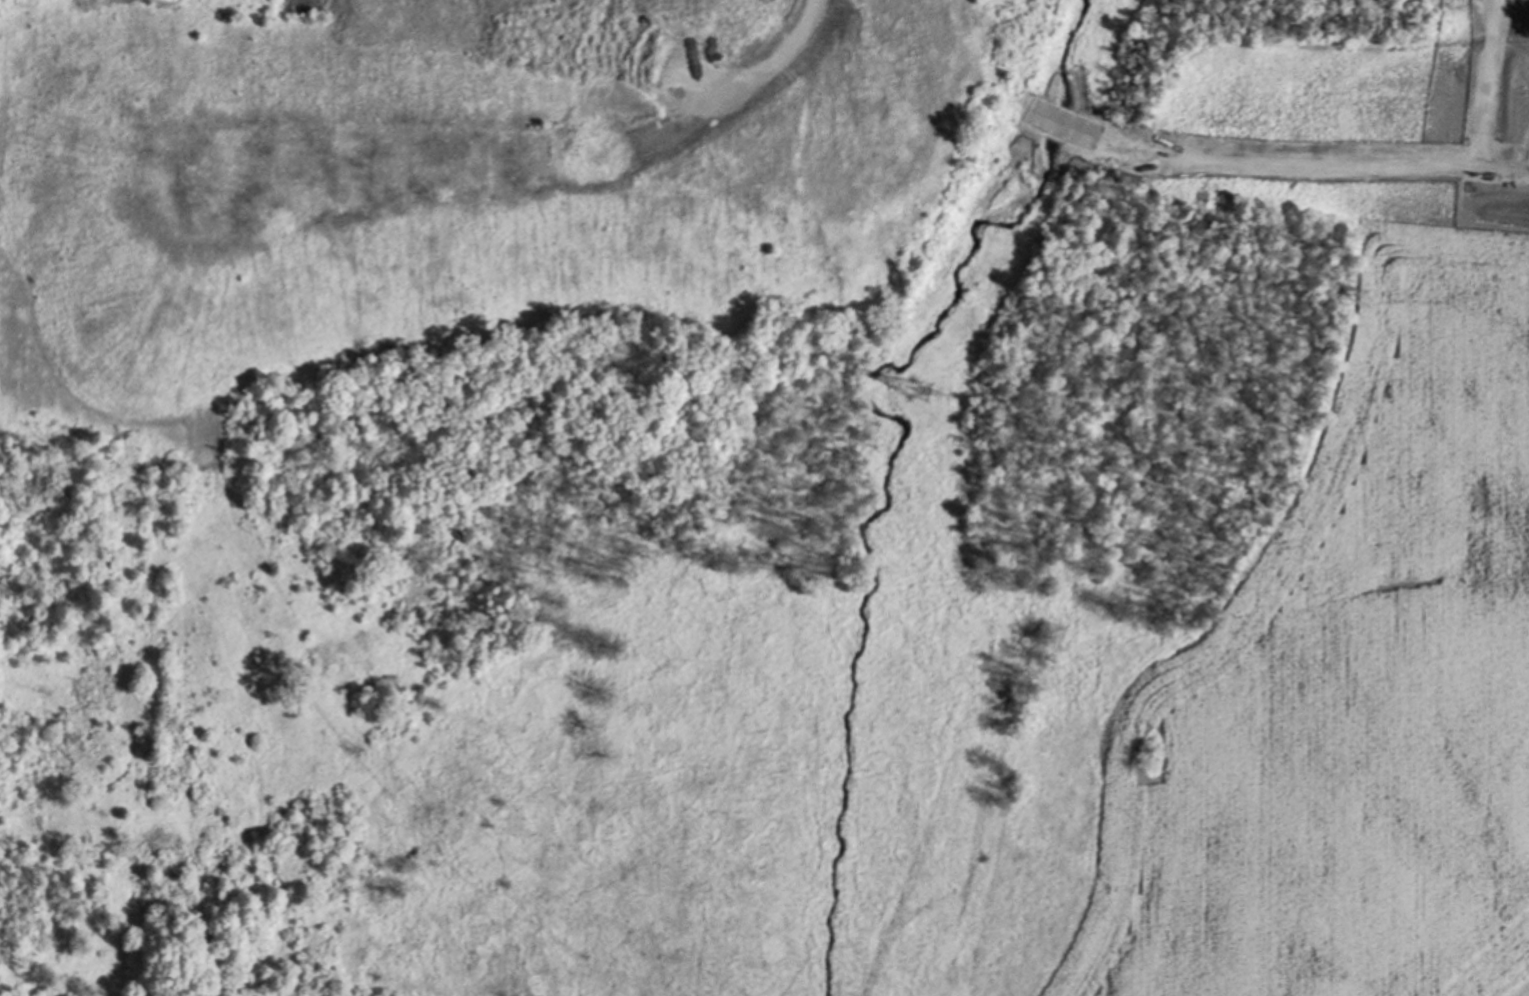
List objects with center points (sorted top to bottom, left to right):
power tower: (920, 392)
quarry: (764, 498)
crop: (1347, 685)

